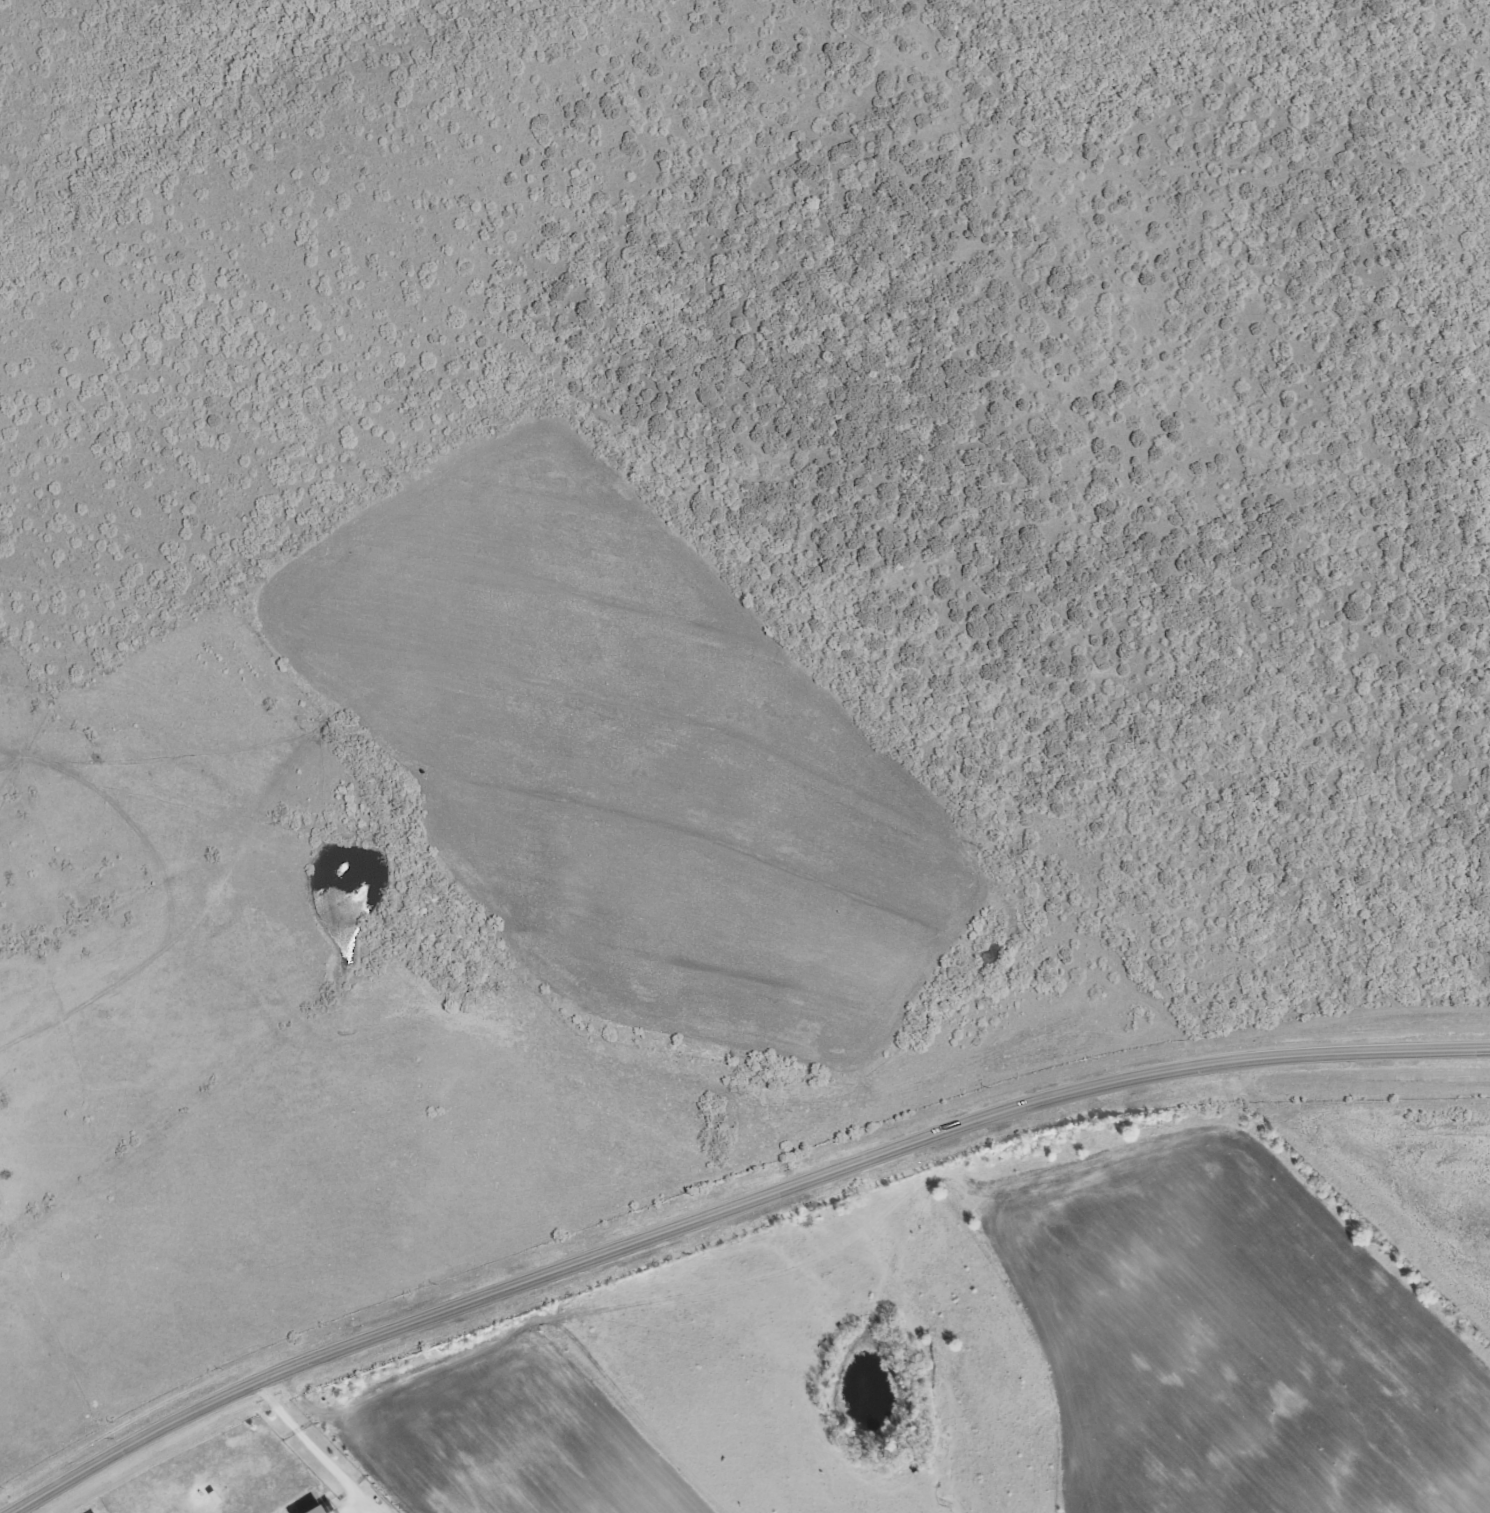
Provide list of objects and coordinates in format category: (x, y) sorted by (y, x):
landfill: (1409, 1182)
road: (731, 1208)
road: (311, 1447)
building: (307, 1510)

